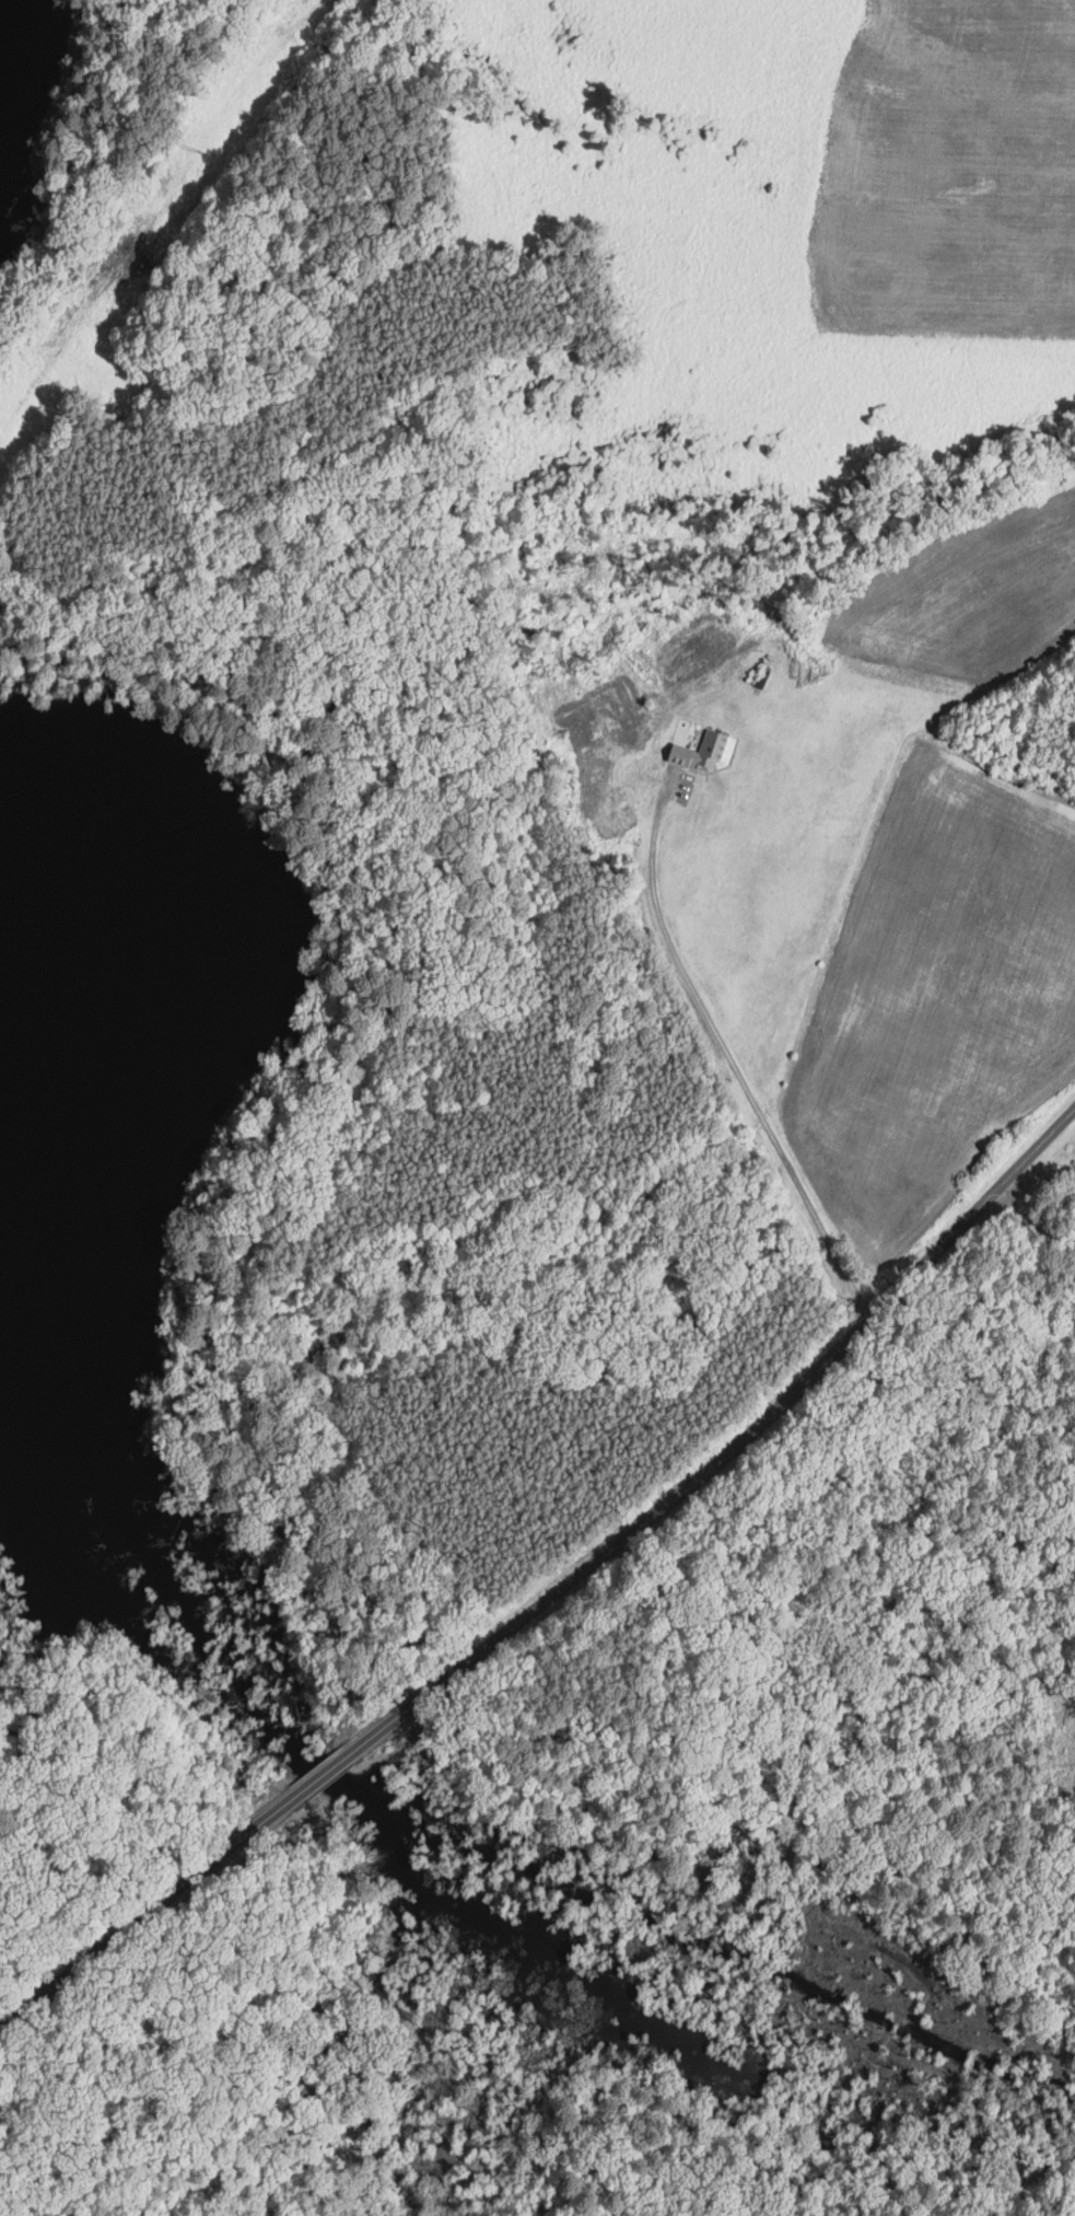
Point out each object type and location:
power tower: (205, 152)
building: (706, 751)
road: (729, 1058)
road: (779, 1405)
road: (407, 1708)
road: (324, 1776)
road: (230, 1849)
road: (85, 1959)

